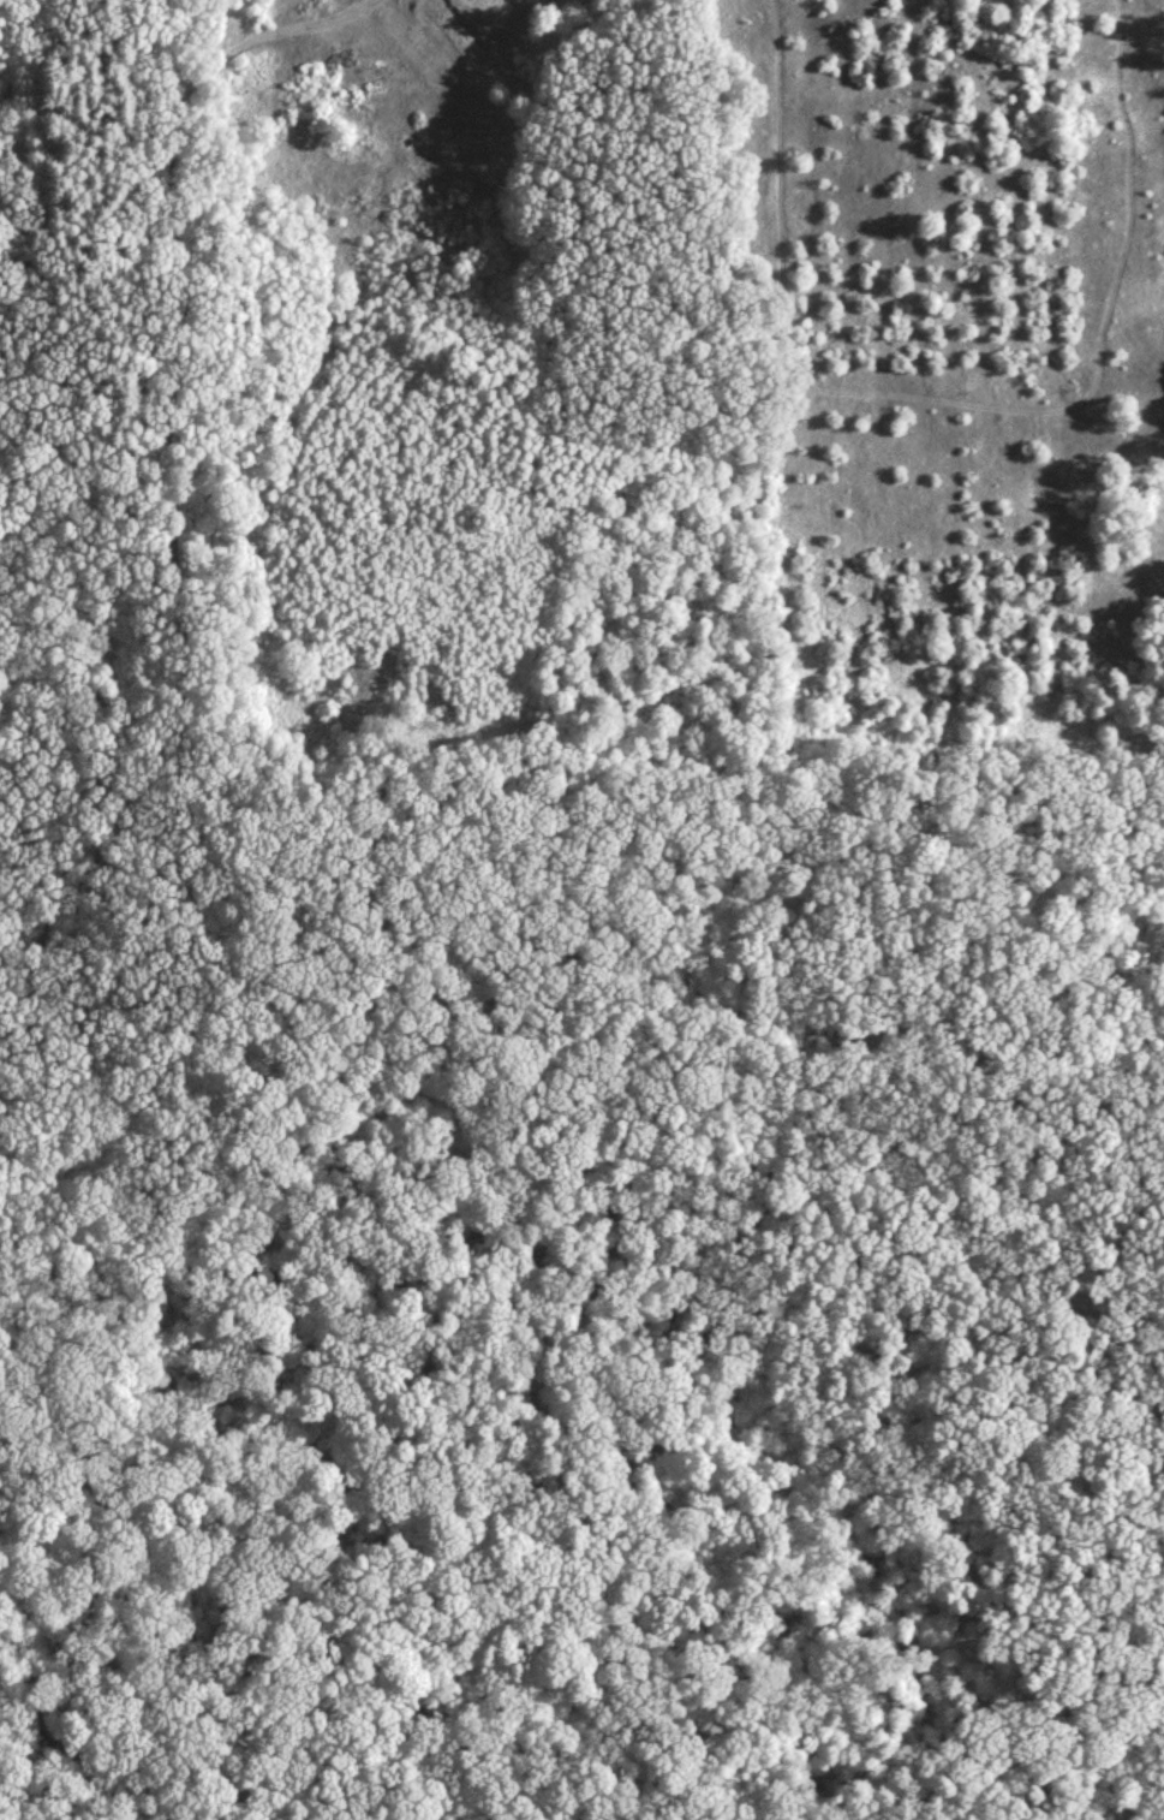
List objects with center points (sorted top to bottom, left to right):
road: (161, 488)
road: (578, 837)

